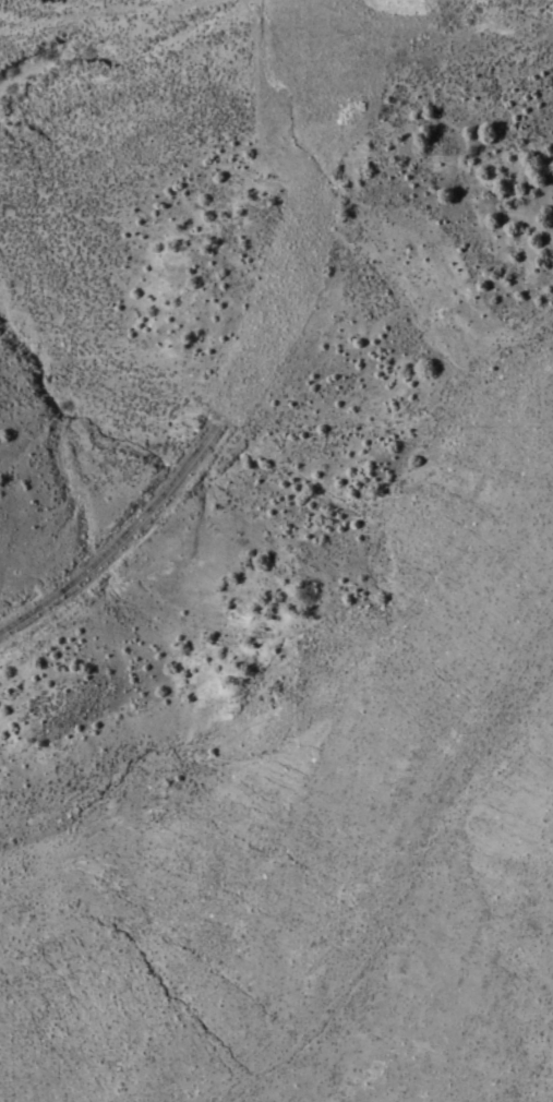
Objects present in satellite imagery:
railway: (322, 87)
railway: (206, 438)

